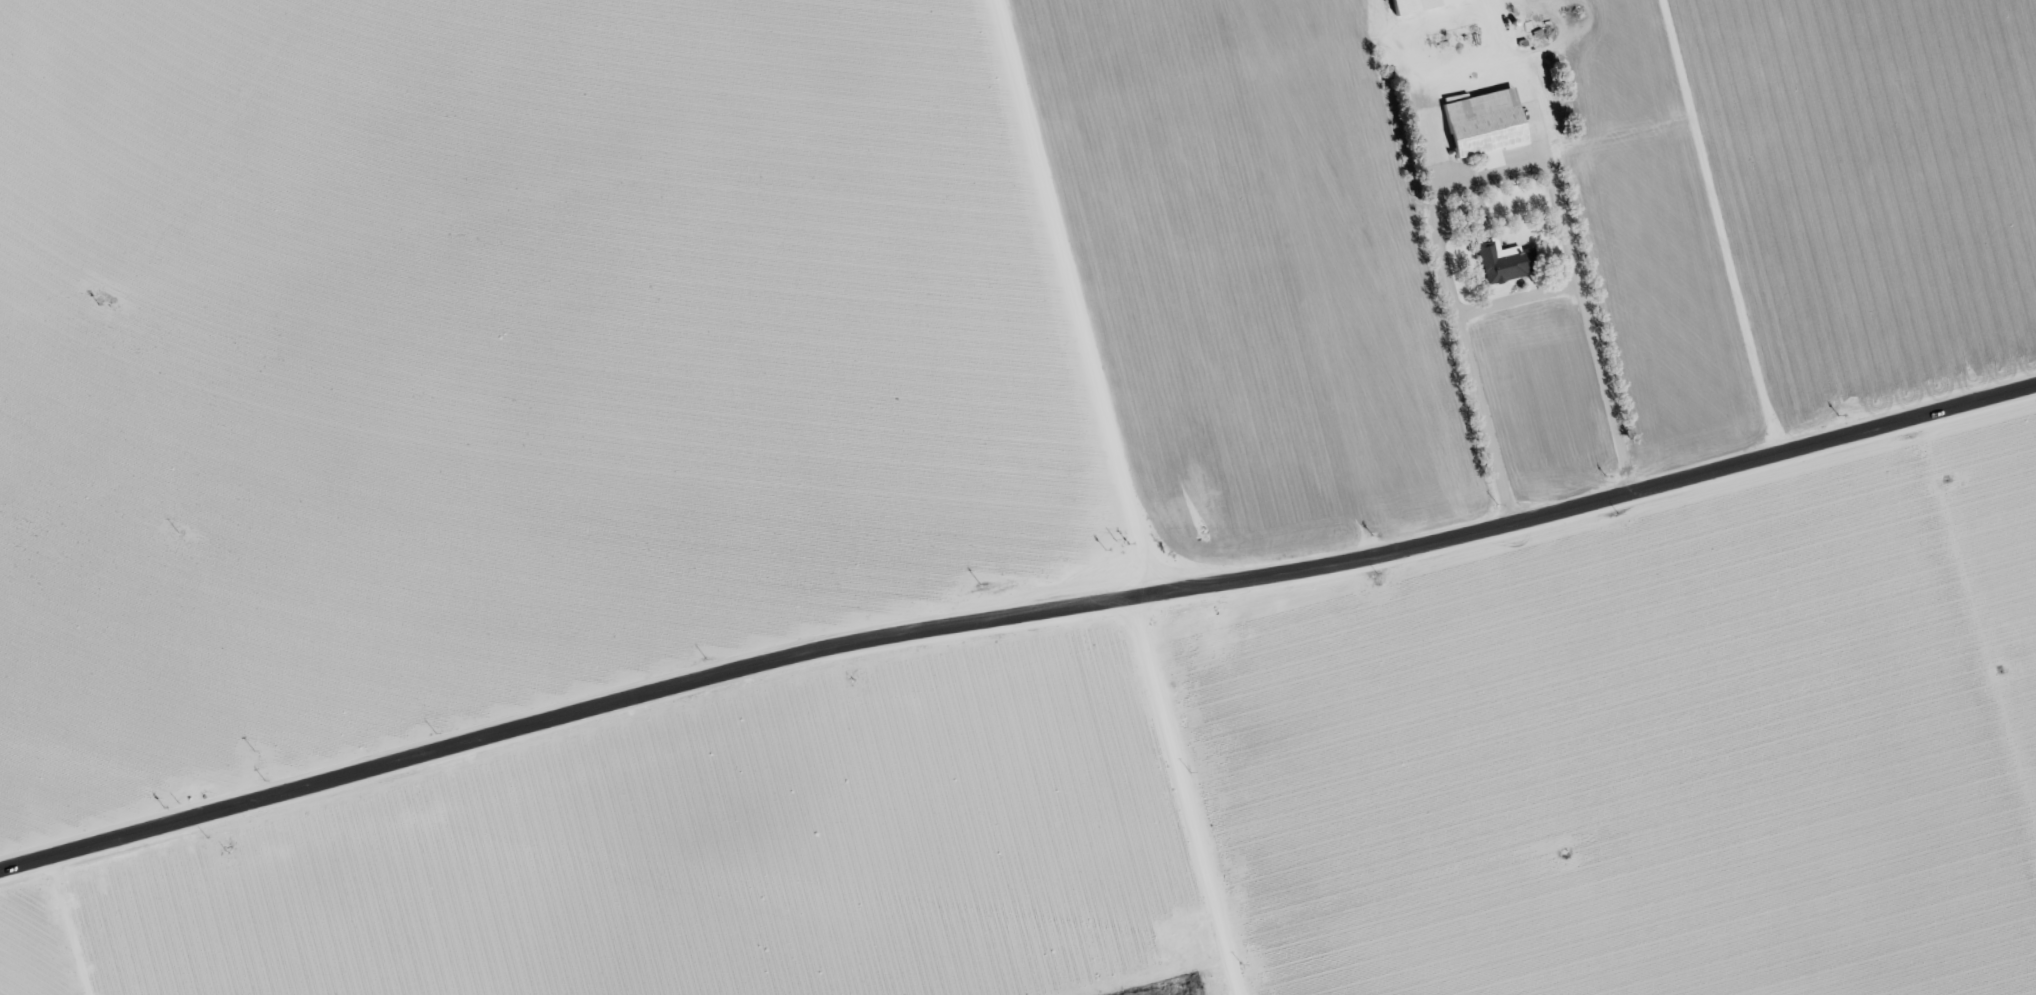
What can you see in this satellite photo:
building: (1411, 4)
building: (1481, 124)
building: (1500, 261)
road: (1058, 285)
road: (1010, 586)
road: (21, 771)
road: (1197, 781)

